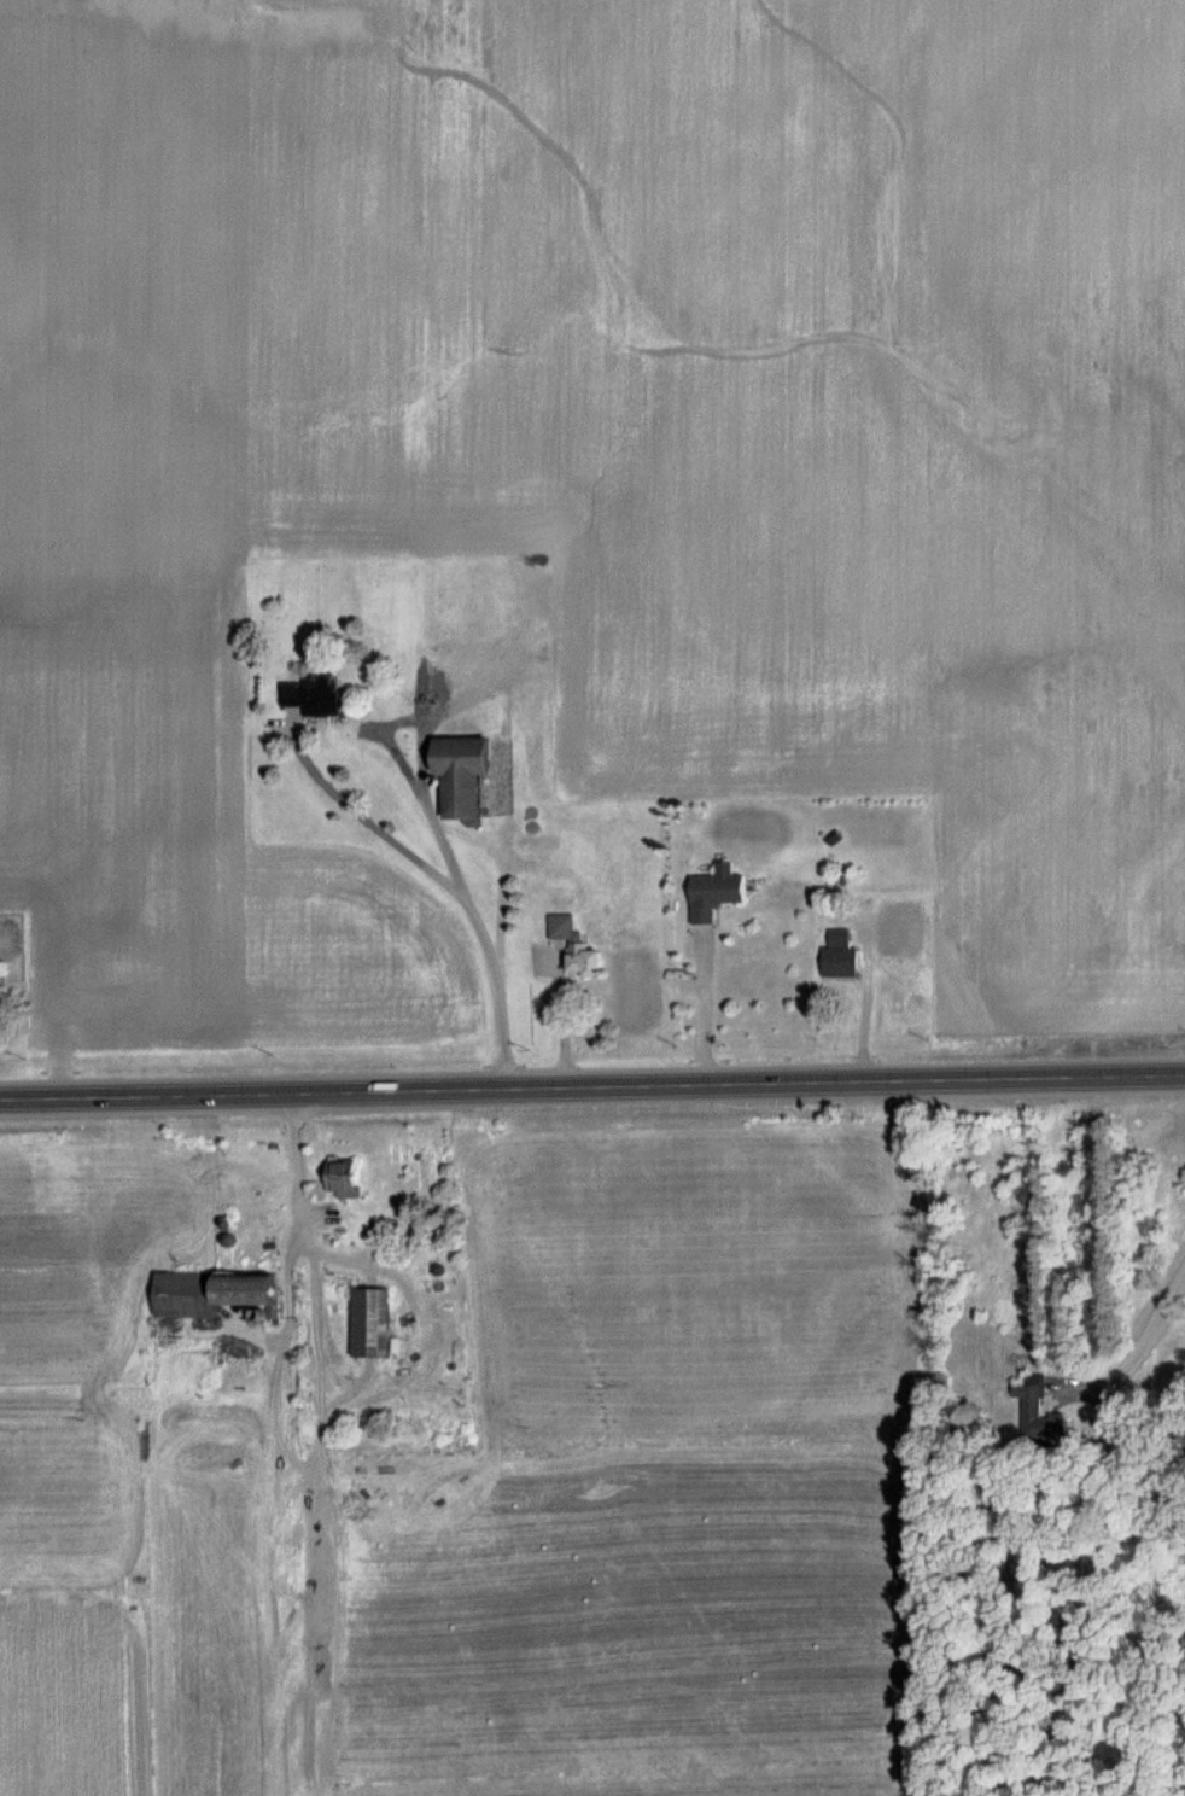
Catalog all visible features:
building: (315, 695)
building: (463, 779)
building: (716, 896)
road: (467, 908)
building: (577, 945)
building: (841, 956)
road: (859, 1007)
road: (699, 1013)
road: (592, 1087)
road: (291, 1164)
building: (344, 1178)
building: (210, 1293)
building: (373, 1323)
building: (1037, 1412)

